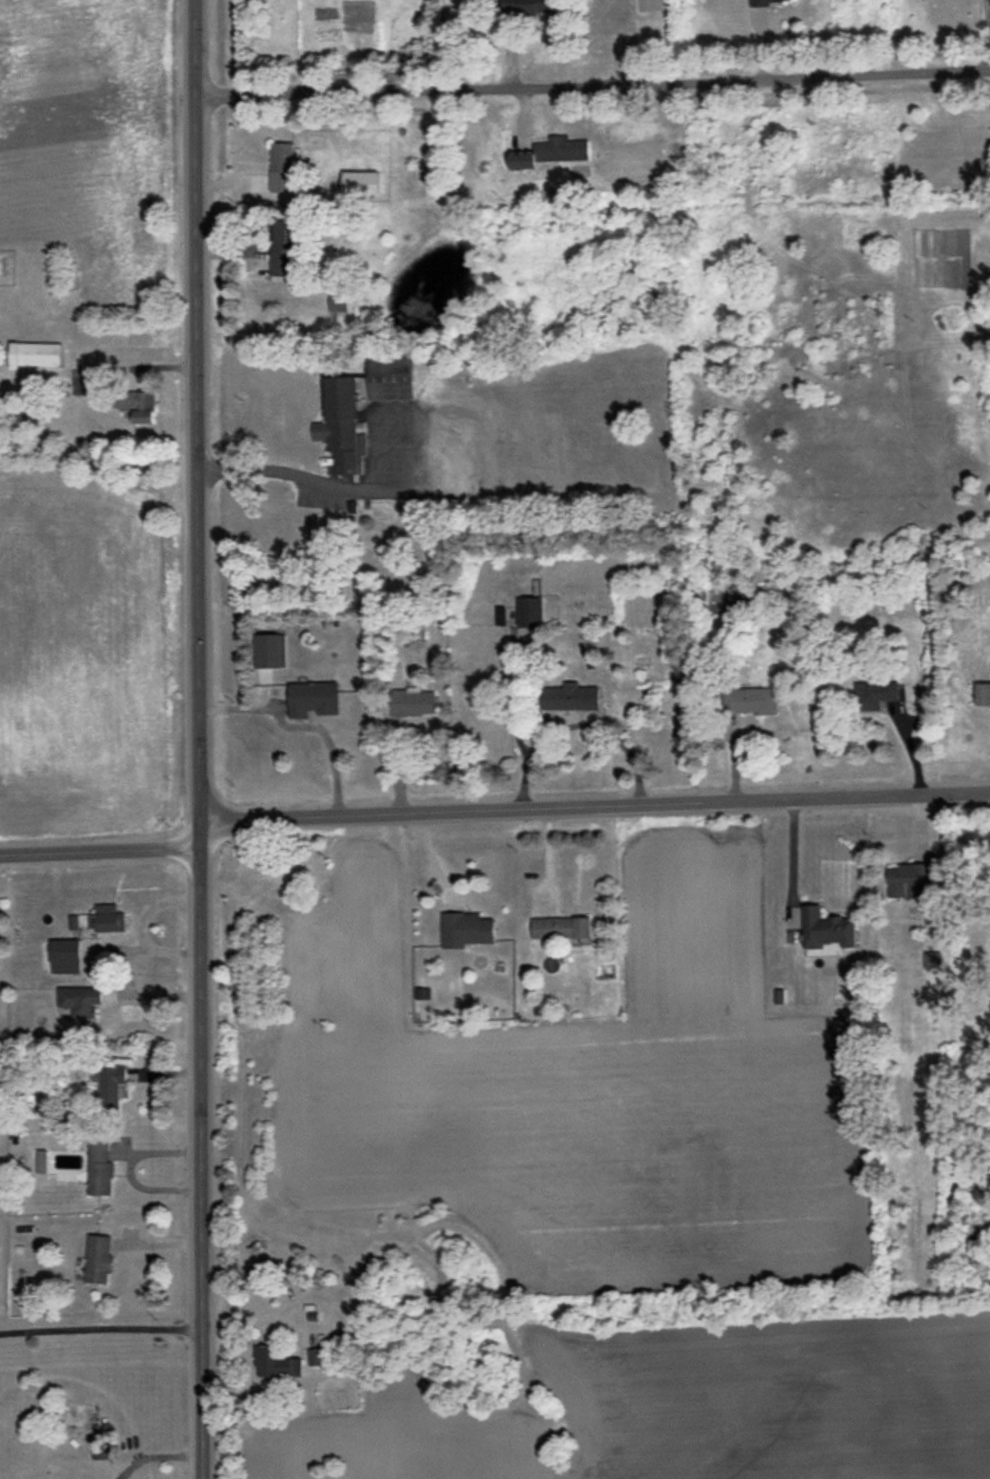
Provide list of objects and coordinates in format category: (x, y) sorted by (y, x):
building: (762, 2)
building: (526, 6)
road: (592, 84)
building: (550, 152)
building: (282, 157)
building: (361, 182)
building: (284, 248)
building: (339, 302)
building: (35, 354)
road: (127, 369)
building: (390, 374)
building: (140, 406)
building: (342, 427)
road: (317, 485)
building: (529, 611)
building: (270, 650)
building: (874, 694)
building: (982, 694)
building: (570, 697)
building: (313, 699)
building: (750, 701)
building: (411, 703)
road: (576, 724)
road: (300, 727)
road: (198, 739)
road: (492, 814)
road: (789, 859)
building: (908, 880)
building: (106, 918)
building: (561, 928)
building: (466, 929)
building: (827, 929)
building: (66, 956)
building: (932, 960)
building: (80, 1000)
building: (110, 1087)
building: (100, 1169)
building: (99, 1258)
road: (100, 1328)
building: (316, 1357)
building: (277, 1365)
road: (156, 1456)

